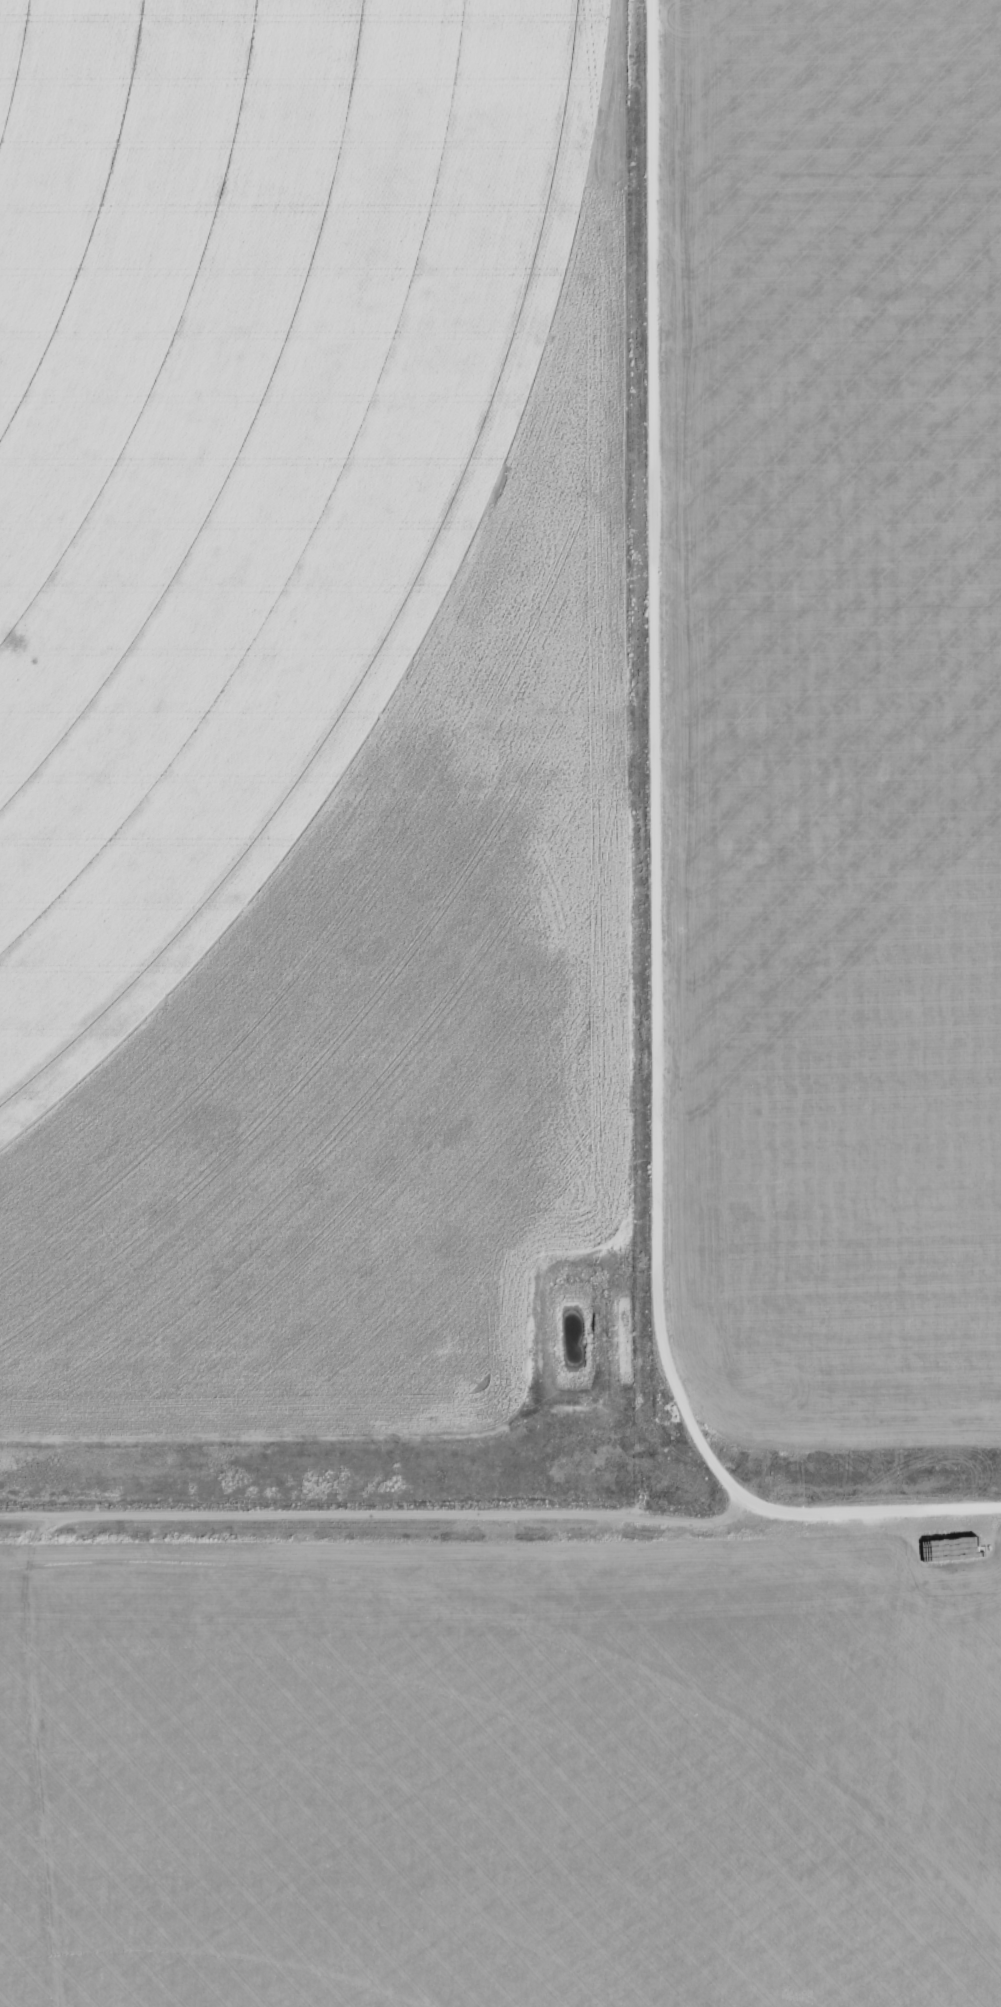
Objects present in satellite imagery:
road: (672, 903)

